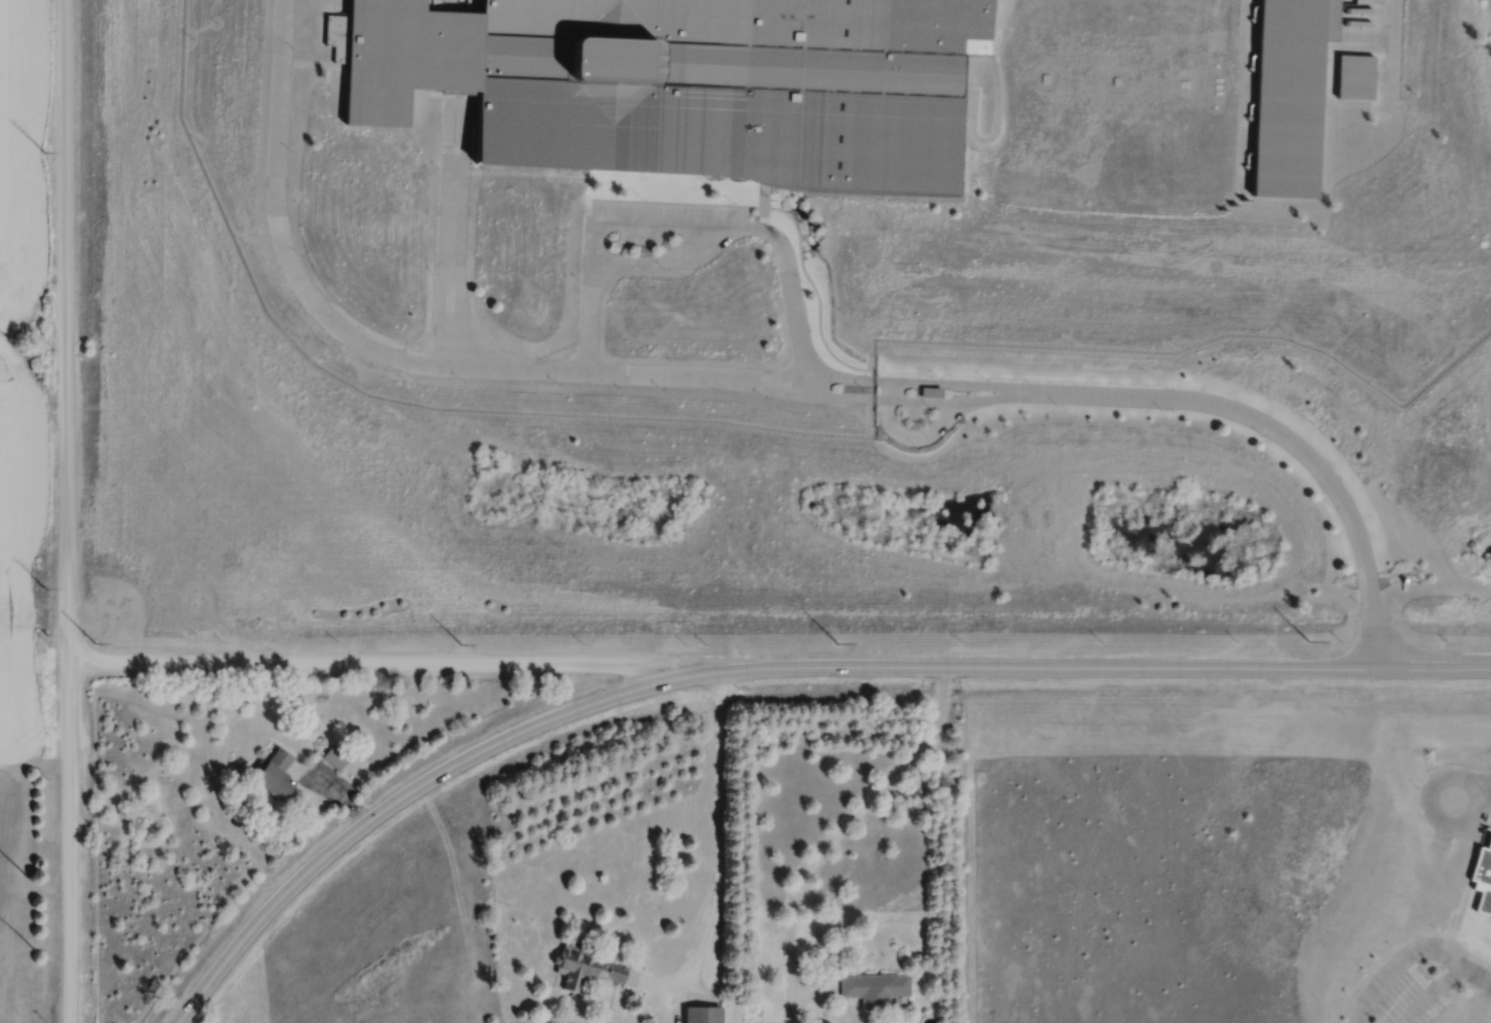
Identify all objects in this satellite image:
road: (451, 5)
road: (473, 5)
road: (1398, 11)
road: (1370, 22)
building: (338, 35)
road: (1243, 49)
road: (1397, 50)
building: (408, 56)
building: (1358, 75)
road: (1386, 76)
building: (737, 88)
road: (1395, 88)
building: (1292, 94)
road: (999, 104)
road: (767, 195)
road: (682, 201)
parking lot: (666, 215)
road: (766, 217)
road: (647, 221)
road: (279, 226)
road: (444, 227)
road: (464, 228)
road: (622, 240)
road: (671, 260)
road: (793, 295)
road: (818, 296)
road: (590, 316)
road: (448, 366)
road: (523, 370)
road: (636, 374)
road: (795, 375)
road: (979, 384)
road: (895, 389)
building: (933, 390)
road: (787, 393)
road: (1009, 396)
road: (928, 402)
road: (1257, 419)
road: (920, 438)
road: (65, 511)
dam: (1470, 584)
road: (1371, 626)
road: (1406, 647)
road: (393, 661)
road: (1105, 667)
building: (334, 756)
building: (278, 773)
road: (413, 790)
road: (1483, 790)
road: (333, 792)
road: (1429, 803)
road: (720, 817)
road: (849, 820)
road: (1467, 839)
building: (1484, 874)
road: (1462, 909)
road: (1394, 949)
road: (1410, 951)
road: (1470, 953)
building: (585, 967)
road: (682, 974)
road: (699, 980)
road: (650, 984)
building: (874, 987)
road: (1432, 992)
road: (814, 993)
parking lot: (1408, 993)
road: (1482, 1003)
road: (671, 1006)
road: (792, 1008)
parking lot: (1484, 1012)
building: (702, 1013)

